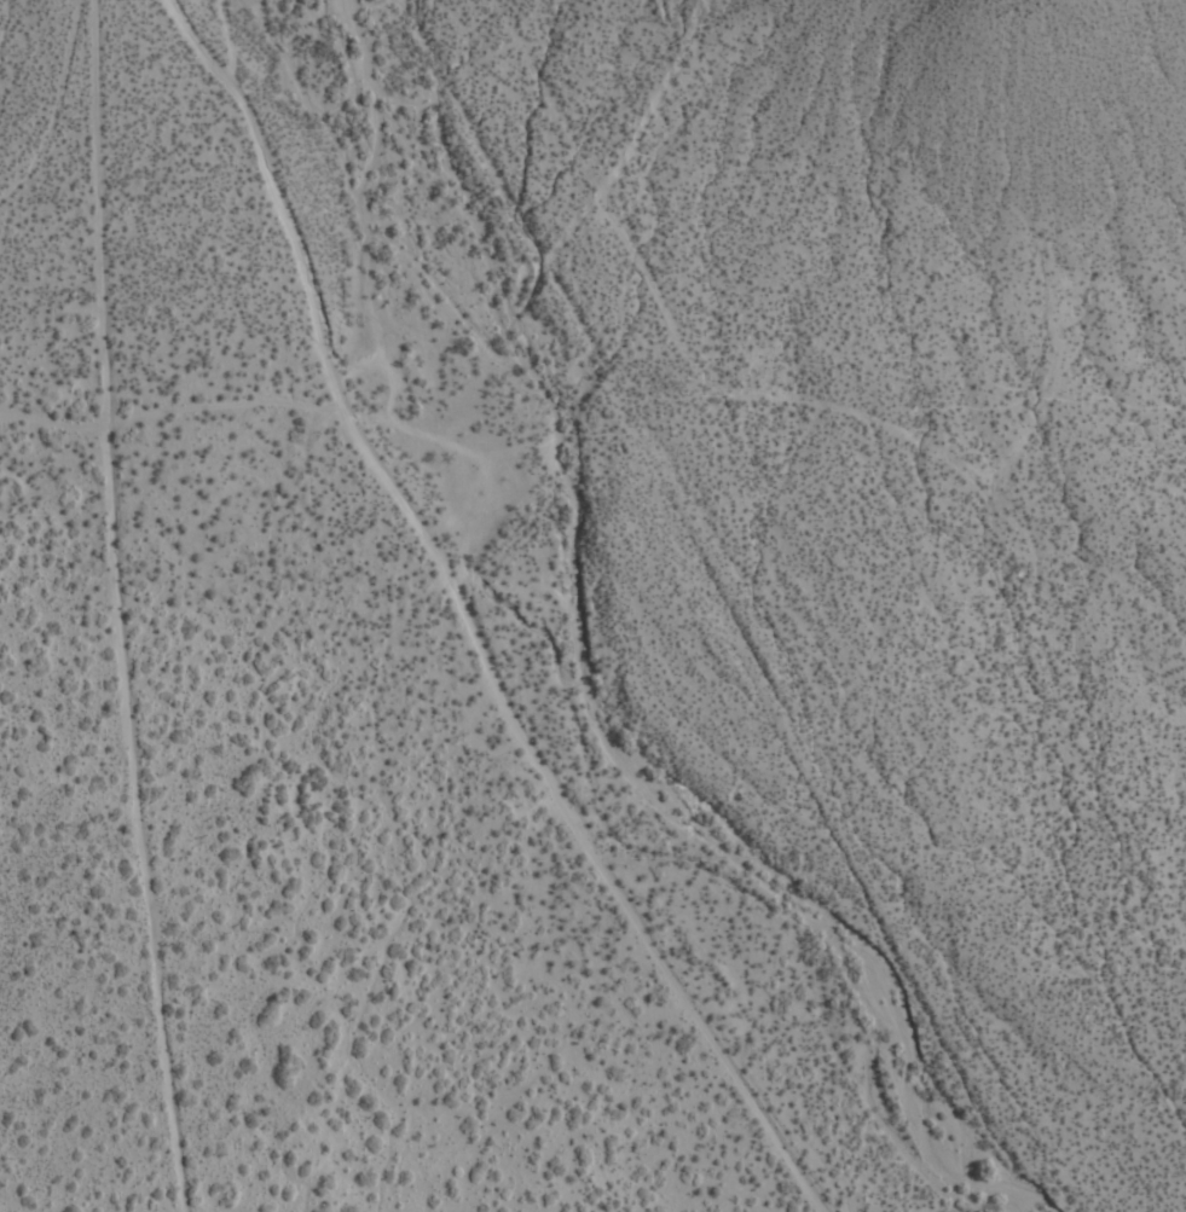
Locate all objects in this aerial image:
road: (770, 382)
road: (168, 414)
road: (465, 617)

